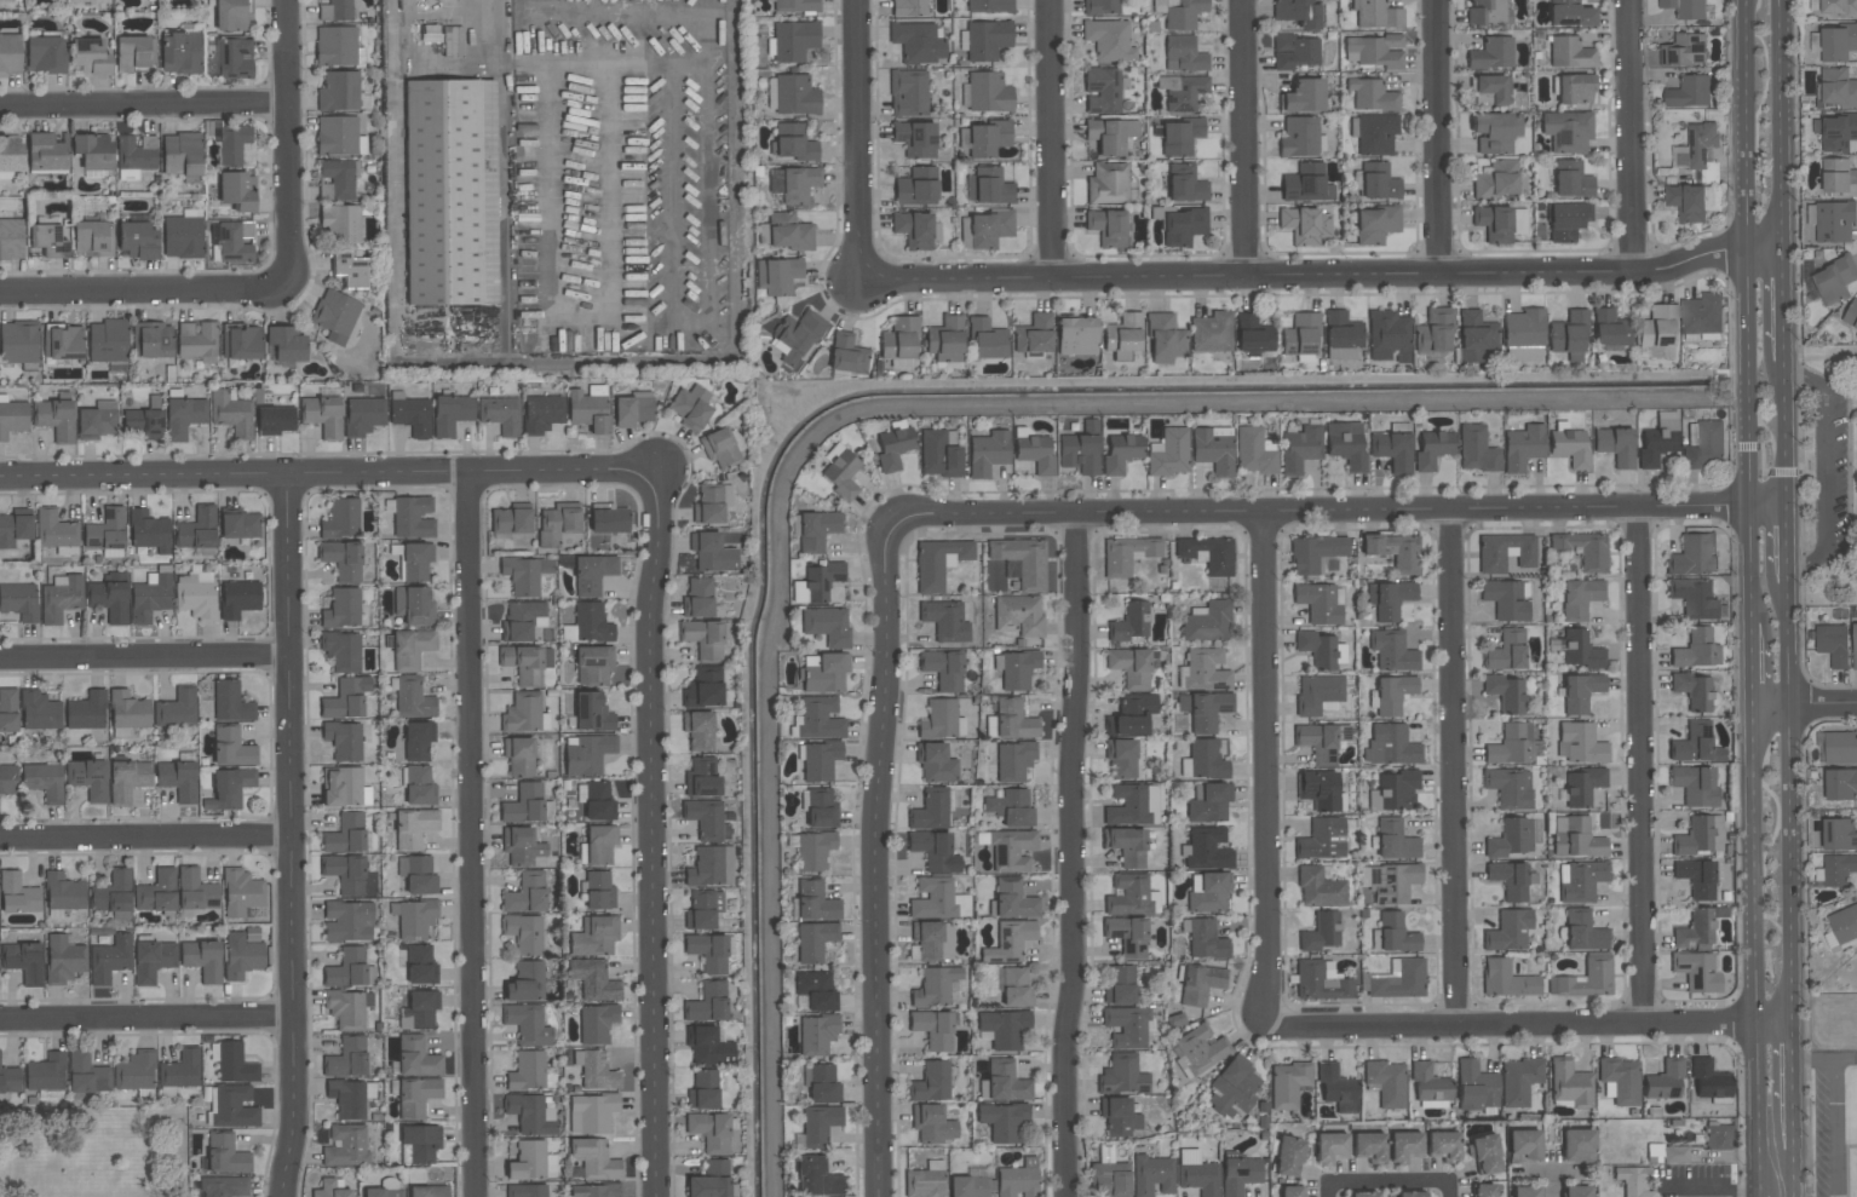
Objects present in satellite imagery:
building: (797, 5)
building: (989, 6)
building: (1100, 7)
building: (1838, 7)
building: (908, 8)
building: (1685, 8)
building: (334, 10)
building: (1180, 12)
building: (1298, 12)
building: (1489, 12)
building: (1376, 15)
building: (231, 16)
building: (441, 39)
building: (794, 40)
building: (985, 40)
building: (1109, 40)
building: (918, 42)
building: (1834, 42)
building: (338, 46)
building: (1294, 51)
building: (1374, 51)
building: (1684, 51)
building: (180, 52)
building: (1491, 53)
building: (1570, 53)
building: (10, 54)
building: (46, 54)
building: (1184, 54)
building: (90, 57)
building: (235, 58)
building: (1494, 88)
building: (1575, 90)
building: (1102, 91)
building: (339, 92)
building: (908, 92)
building: (1182, 92)
building: (1689, 92)
building: (987, 93)
building: (1372, 94)
building: (793, 96)
building: (1304, 96)
road: (143, 104)
road: (1781, 123)
building: (1568, 131)
building: (1496, 132)
building: (1835, 132)
building: (1374, 133)
building: (1110, 134)
road: (1437, 136)
building: (339, 137)
road: (1052, 137)
building: (1180, 137)
road: (1244, 137)
building: (1301, 137)
road: (1633, 137)
building: (915, 138)
road: (857, 139)
building: (988, 139)
road: (287, 143)
building: (793, 143)
building: (1696, 146)
building: (93, 150)
building: (47, 151)
building: (137, 152)
building: (182, 154)
building: (11, 156)
building: (340, 178)
building: (1838, 178)
building: (1496, 179)
building: (1571, 179)
building: (1376, 182)
building: (794, 184)
building: (1108, 184)
building: (1185, 184)
building: (1306, 184)
building: (988, 186)
building: (916, 188)
building: (236, 190)
building: (450, 192)
building: (1686, 202)
building: (1566, 220)
building: (341, 223)
building: (1500, 223)
building: (1304, 225)
building: (1375, 225)
building: (1183, 226)
building: (1106, 228)
building: (984, 229)
building: (915, 230)
building: (788, 232)
building: (183, 235)
building: (11, 238)
building: (92, 238)
building: (47, 240)
building: (137, 241)
building: (231, 241)
building: (350, 270)
road: (1322, 272)
building: (777, 275)
building: (1834, 281)
road: (144, 288)
road: (1783, 305)
road: (1750, 311)
building: (1851, 315)
building: (335, 316)
building: (1702, 316)
building: (1610, 328)
building: (1343, 330)
building: (1658, 330)
building: (1212, 332)
building: (1123, 333)
building: (1523, 333)
building: (1568, 333)
building: (1034, 334)
building: (1300, 334)
building: (1433, 334)
building: (797, 336)
building: (1076, 336)
building: (1253, 336)
building: (1389, 336)
building: (899, 338)
building: (1163, 338)
building: (945, 339)
building: (987, 339)
building: (107, 340)
building: (154, 340)
building: (197, 340)
building: (18, 341)
building: (63, 341)
building: (241, 341)
building: (286, 344)
building: (846, 353)
road: (1840, 395)
building: (690, 407)
building: (588, 408)
building: (633, 409)
road: (896, 412)
building: (541, 413)
building: (231, 414)
building: (410, 414)
building: (450, 414)
building: (500, 414)
building: (323, 415)
building: (363, 415)
building: (183, 416)
building: (12, 418)
building: (56, 419)
building: (275, 419)
building: (97, 420)
building: (143, 424)
road: (1786, 436)
building: (1660, 441)
building: (1346, 445)
building: (1616, 445)
building: (1703, 445)
building: (723, 447)
building: (1523, 447)
building: (1570, 448)
building: (1081, 449)
building: (1213, 449)
building: (1299, 449)
building: (1476, 449)
building: (1393, 450)
building: (1253, 451)
building: (1432, 451)
building: (988, 453)
building: (1121, 453)
building: (1169, 453)
building: (938, 455)
road: (1824, 468)
building: (841, 474)
park: (1829, 476)
road: (327, 477)
building: (708, 505)
road: (1344, 513)
building: (412, 517)
building: (340, 519)
building: (608, 519)
building: (511, 522)
building: (557, 523)
building: (240, 525)
building: (15, 530)
building: (54, 530)
building: (816, 530)
building: (149, 531)
building: (197, 531)
road: (1841, 531)
building: (107, 534)
road: (1788, 541)
building: (1582, 549)
building: (1395, 551)
building: (1505, 552)
building: (712, 553)
building: (1316, 553)
building: (1127, 554)
building: (1208, 554)
building: (1694, 556)
building: (343, 560)
building: (416, 560)
building: (1023, 562)
building: (938, 563)
building: (592, 574)
building: (525, 575)
building: (821, 581)
building: (196, 594)
building: (150, 597)
building: (61, 598)
building: (110, 598)
building: (238, 598)
building: (697, 598)
building: (1580, 598)
building: (1694, 598)
building: (1390, 599)
building: (1507, 599)
building: (19, 602)
building: (1320, 603)
building: (414, 605)
building: (343, 609)
building: (1018, 615)
building: (948, 620)
building: (523, 621)
building: (1129, 622)
building: (1206, 622)
building: (588, 623)
building: (827, 625)
building: (703, 639)
building: (1833, 645)
building: (1855, 646)
building: (410, 649)
building: (1321, 650)
building: (1581, 650)
building: (1696, 650)
building: (341, 651)
building: (1392, 651)
building: (1506, 651)
road: (143, 658)
road: (1757, 662)
building: (527, 663)
building: (594, 663)
building: (1133, 666)
building: (943, 669)
building: (1016, 669)
building: (1203, 671)
building: (824, 672)
building: (703, 687)
building: (1694, 691)
building: (1581, 692)
building: (1318, 694)
building: (1506, 694)
building: (1391, 695)
building: (412, 697)
building: (346, 698)
road: (1807, 702)
building: (231, 703)
building: (8, 709)
building: (177, 709)
building: (40, 710)
building: (128, 710)
building: (1205, 710)
building: (86, 712)
building: (524, 713)
building: (592, 713)
building: (1132, 714)
building: (818, 719)
building: (942, 719)
building: (698, 730)
building: (344, 741)
building: (418, 741)
building: (1317, 742)
building: (1580, 743)
building: (1511, 744)
building: (1695, 744)
building: (1391, 746)
building: (231, 748)
building: (1838, 748)
building: (586, 754)
building: (519, 756)
building: (1121, 758)
building: (818, 760)
building: (1203, 760)
building: (1013, 761)
building: (936, 764)
road: (1640, 766)
road: (1451, 767)
road: (1264, 770)
building: (88, 778)
building: (702, 778)
building: (8, 779)
building: (128, 779)
building: (178, 779)
building: (44, 781)
building: (1840, 784)
building: (419, 785)
building: (1582, 785)
building: (1695, 785)
building: (343, 787)
building: (1510, 787)
building: (229, 789)
building: (1321, 790)
building: (1393, 792)
road: (1789, 796)
building: (596, 800)
building: (1208, 802)
building: (524, 804)
building: (1133, 805)
building: (1010, 807)
building: (821, 810)
building: (930, 810)
building: (706, 819)
building: (414, 828)
building: (345, 834)
road: (654, 835)
building: (1839, 835)
road: (289, 836)
road: (464, 836)
building: (1700, 836)
road: (145, 838)
building: (1576, 838)
building: (1323, 839)
building: (1511, 839)
building: (1395, 840)
building: (599, 842)
building: (522, 846)
building: (1127, 846)
building: (1206, 850)
building: (813, 851)
building: (1011, 851)
road: (880, 852)
building: (936, 852)
road: (1069, 856)
building: (711, 867)
building: (1835, 870)
building: (345, 873)
building: (418, 875)
building: (1696, 879)
building: (1510, 880)
building: (1580, 881)
building: (1320, 888)
building: (195, 890)
building: (598, 891)
building: (64, 892)
building: (113, 892)
building: (156, 892)
building: (1208, 892)
building: (241, 893)
building: (527, 893)
building: (17, 894)
building: (1131, 896)
building: (938, 899)
building: (1013, 899)
building: (816, 902)
building: (703, 909)
building: (414, 919)
building: (347, 921)
building: (1841, 927)
building: (1698, 928)
building: (1508, 931)
building: (1321, 932)
building: (1583, 932)
building: (524, 933)
building: (1393, 934)
building: (594, 936)
building: (1127, 936)
building: (1205, 939)
building: (931, 940)
building: (813, 942)
building: (1010, 942)
road: (1757, 949)
building: (711, 951)
building: (242, 954)
building: (64, 959)
building: (110, 959)
building: (202, 960)
building: (24, 961)
building: (153, 961)
building: (420, 963)
building: (350, 969)
building: (1696, 971)
building: (1588, 978)
building: (1399, 979)
building: (1507, 979)
building: (525, 982)
building: (1321, 982)
building: (597, 984)
building: (1200, 984)
building: (1120, 985)
building: (935, 986)
building: (1014, 986)
building: (707, 1003)
building: (347, 1009)
building: (419, 1011)
road: (145, 1022)
road: (1530, 1022)
building: (597, 1023)
building: (527, 1024)
building: (1127, 1026)
building: (933, 1029)
building: (1004, 1029)
building: (816, 1035)
building: (709, 1046)
building: (1201, 1048)
building: (416, 1057)
building: (346, 1058)
road: (1824, 1059)
building: (232, 1063)
building: (180, 1070)
building: (596, 1070)
building: (134, 1071)
building: (530, 1071)
building: (46, 1072)
building: (87, 1075)
building: (1122, 1075)
building: (1621, 1080)
building: (1709, 1080)
building: (1006, 1081)
building: (1519, 1081)
building: (1665, 1081)
building: (8, 1082)
building: (931, 1082)
building: (1387, 1083)
building: (1428, 1083)
building: (1570, 1083)
road: (1793, 1083)
building: (822, 1084)
building: (1288, 1084)
building: (1476, 1086)
building: (1234, 1088)
building: (1338, 1089)
building: (703, 1090)
building: (416, 1097)
building: (350, 1098)
building: (231, 1106)
building: (592, 1112)
building: (530, 1113)
building: (1119, 1116)
building: (1004, 1121)
building: (820, 1124)
building: (932, 1124)
road: (1836, 1128)
building: (711, 1132)
building: (1718, 1136)
building: (419, 1144)
building: (345, 1145)
building: (1524, 1145)
building: (1577, 1145)
building: (1369, 1146)
building: (1404, 1146)
building: (1444, 1146)
building: (1330, 1147)
park: (92, 1152)
building: (1667, 1153)
building: (225, 1155)
building: (1485, 1155)
building: (1288, 1157)
building: (596, 1159)
building: (531, 1162)
road: (1793, 1172)
road: (1553, 1174)
building: (1151, 1175)
building: (817, 1178)
building: (1198, 1178)
building: (1018, 1179)
building: (711, 1180)
building: (926, 1180)
building: (1110, 1180)
building: (1633, 1181)
road: (1390, 1182)
building: (972, 1184)
road: (1554, 1185)
building: (224, 1186)
road: (1712, 1187)
building: (330, 1189)
building: (386, 1189)
building: (525, 1190)
building: (1483, 1190)
building: (429, 1191)
building: (594, 1191)
building: (1290, 1191)
building: (1527, 1191)
building: (1576, 1191)
building: (1362, 1195)
building: (1413, 1195)

